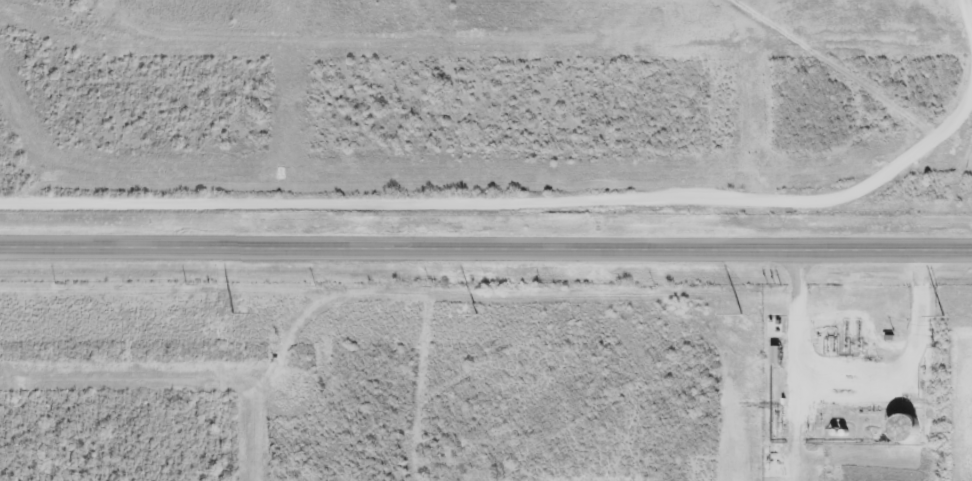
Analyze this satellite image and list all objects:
road: (486, 247)
power tower: (477, 311)
power tower: (231, 313)
power tower: (741, 313)
power tower: (942, 315)
building: (903, 428)

